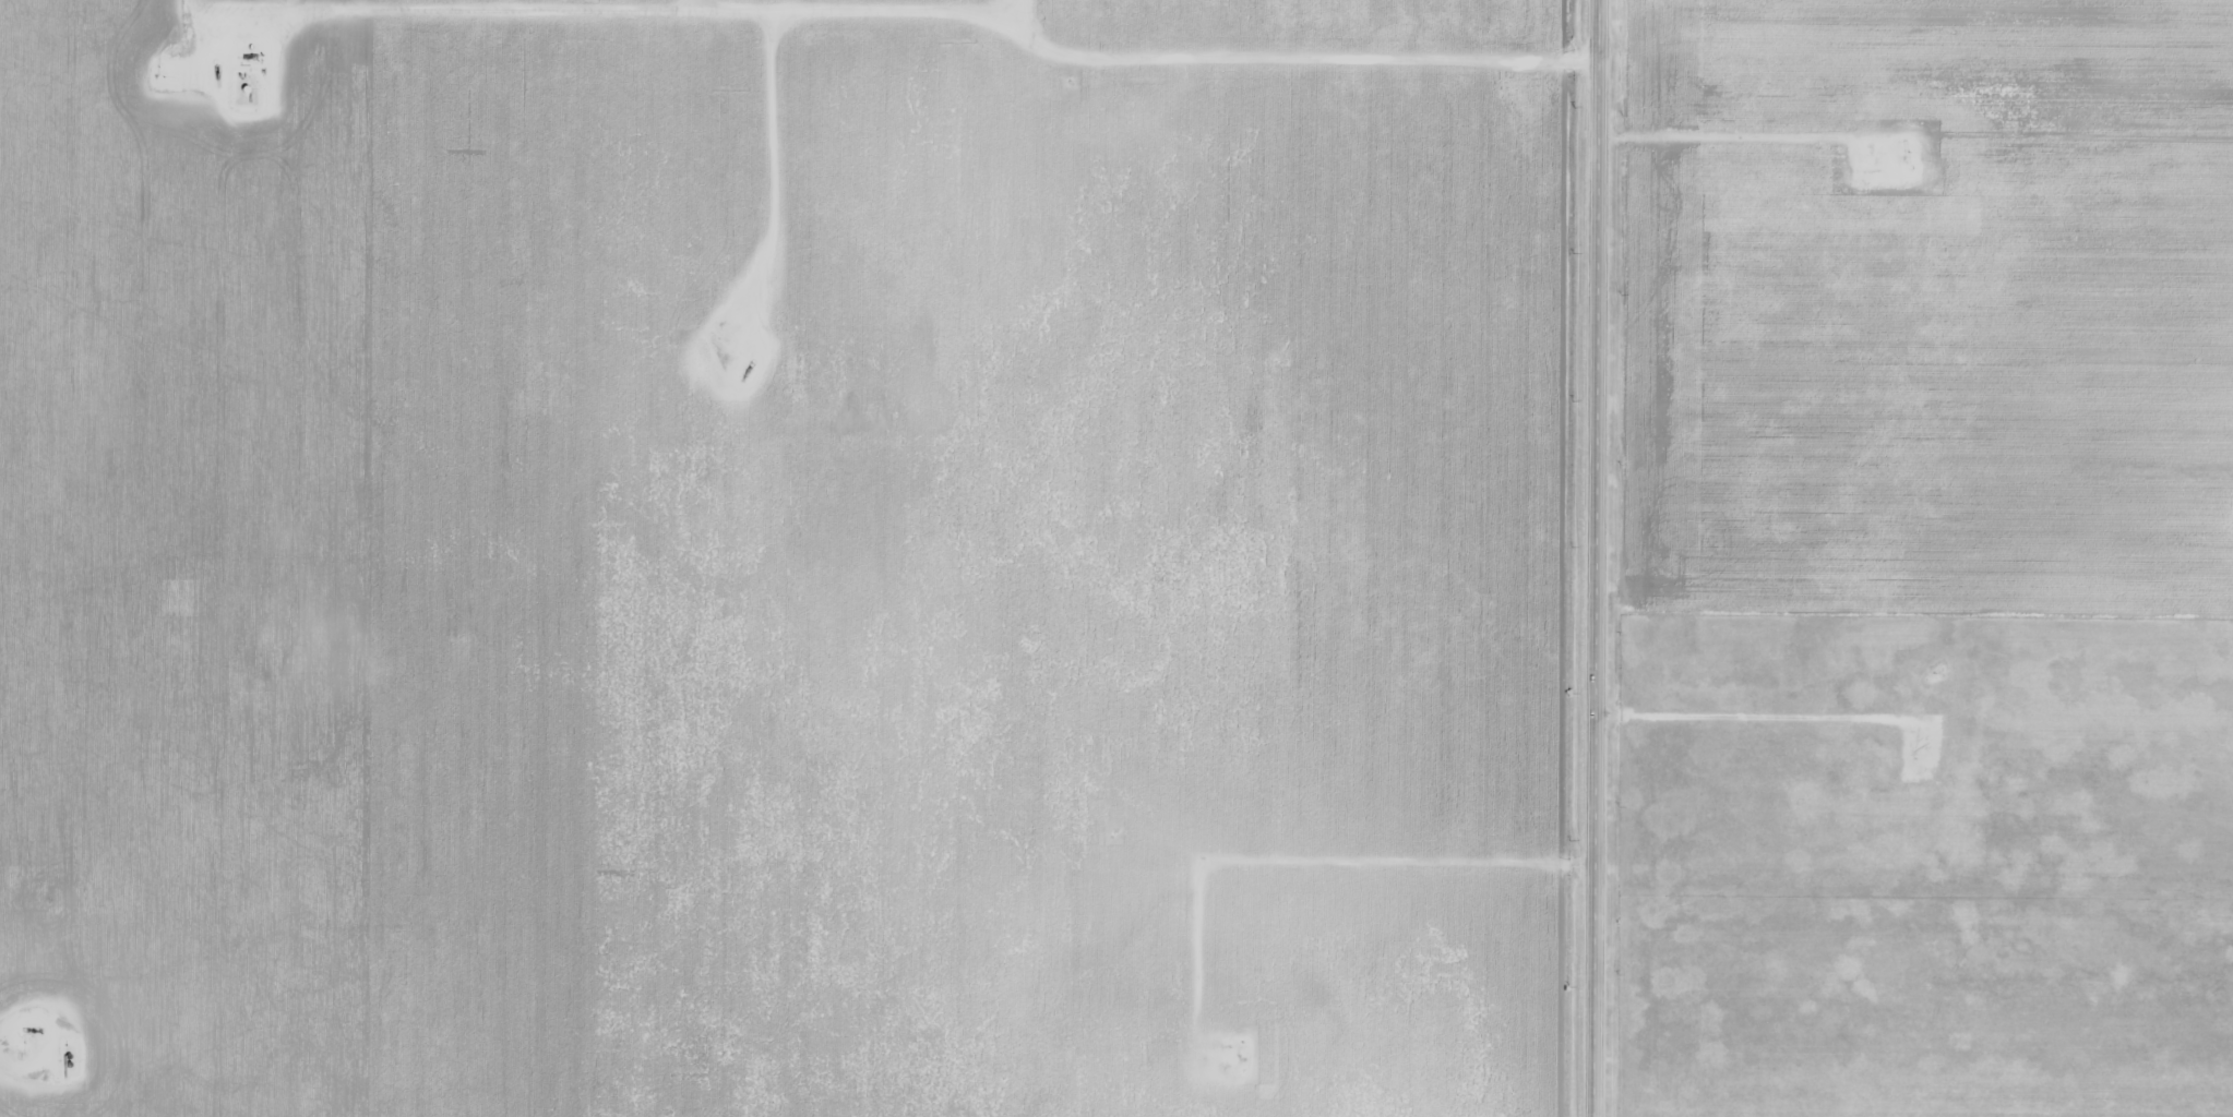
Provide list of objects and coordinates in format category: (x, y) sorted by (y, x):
road: (690, 8)
road: (892, 15)
road: (1015, 15)
road: (768, 199)
road: (1593, 557)

